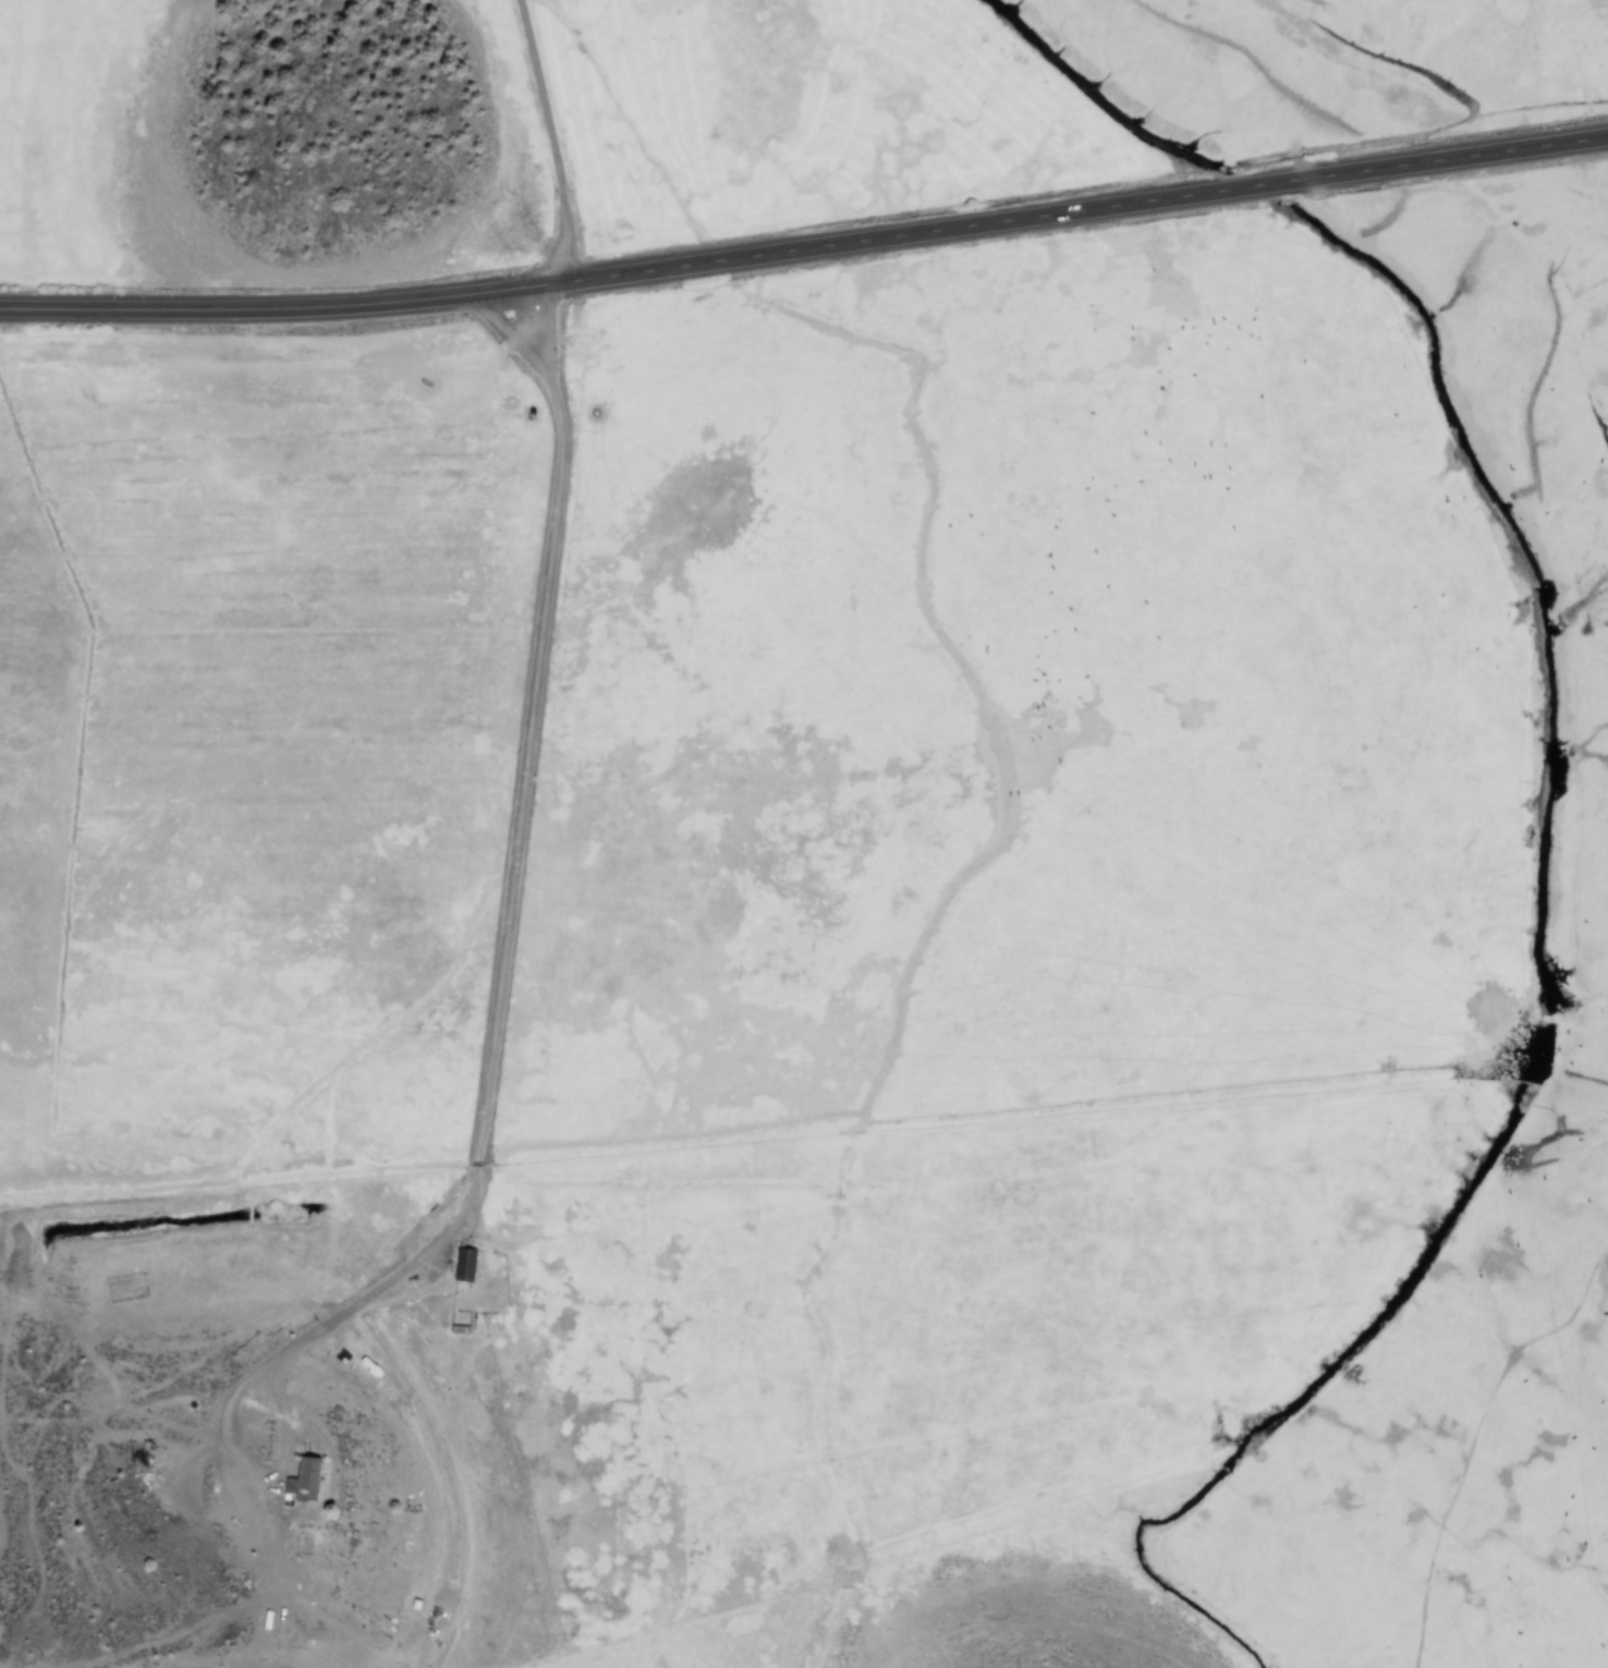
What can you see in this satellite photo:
road: (549, 138)
road: (805, 245)
road: (513, 865)
building: (463, 1264)
building: (304, 1478)

